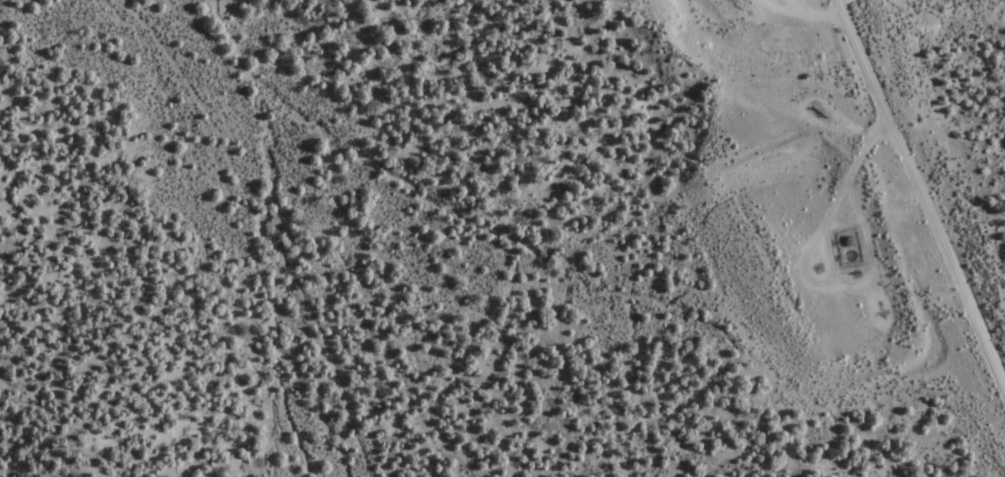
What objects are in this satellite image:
road: (917, 203)

